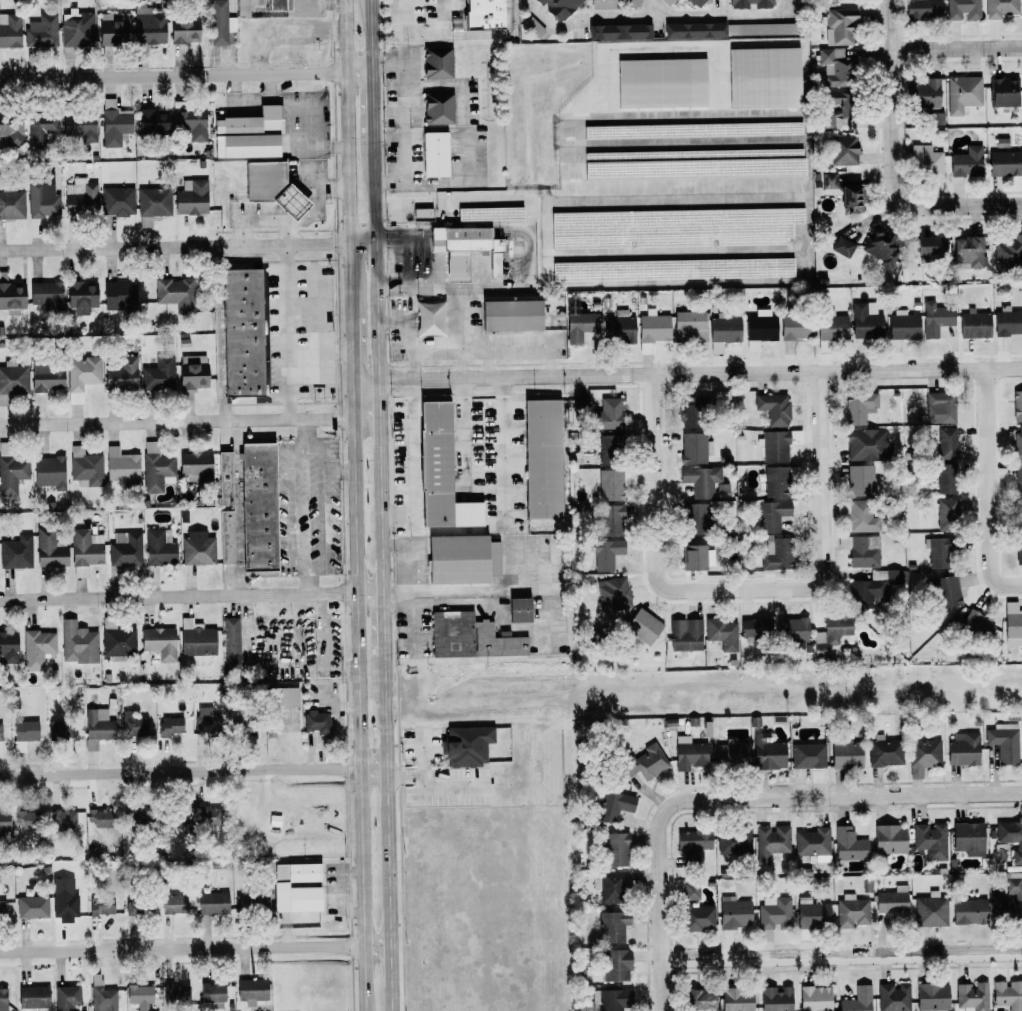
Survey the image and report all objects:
building: (667, 2)
building: (748, 3)
building: (275, 5)
building: (557, 6)
building: (242, 8)
road: (655, 8)
road: (727, 8)
building: (1001, 8)
building: (922, 9)
building: (963, 9)
building: (482, 14)
road: (511, 16)
road: (405, 17)
road: (442, 17)
road: (659, 17)
building: (219, 23)
building: (147, 26)
building: (839, 26)
building: (76, 28)
building: (112, 28)
building: (729, 29)
building: (10, 30)
building: (183, 30)
building: (41, 31)
building: (618, 31)
road: (458, 33)
road: (371, 35)
road: (955, 43)
road: (610, 48)
building: (436, 62)
building: (834, 66)
road: (186, 75)
building: (764, 77)
building: (661, 82)
road: (271, 87)
building: (1003, 92)
building: (923, 93)
building: (963, 94)
road: (372, 105)
building: (437, 108)
building: (844, 108)
road: (290, 111)
road: (730, 112)
road: (387, 115)
building: (152, 121)
road: (402, 122)
building: (114, 123)
building: (190, 123)
building: (79, 126)
building: (41, 127)
building: (10, 129)
building: (692, 130)
building: (247, 134)
road: (388, 138)
road: (688, 142)
building: (843, 149)
building: (434, 154)
road: (350, 158)
building: (925, 161)
road: (890, 162)
building: (966, 162)
building: (1004, 163)
building: (694, 164)
building: (829, 183)
building: (272, 187)
building: (42, 196)
building: (79, 196)
building: (191, 198)
building: (850, 198)
road: (807, 199)
building: (117, 201)
building: (152, 204)
building: (12, 205)
building: (489, 213)
building: (673, 227)
building: (929, 245)
road: (188, 246)
building: (842, 246)
building: (880, 246)
building: (467, 249)
road: (674, 250)
building: (968, 251)
building: (1008, 251)
road: (422, 263)
building: (672, 269)
building: (119, 294)
building: (175, 295)
building: (45, 296)
building: (81, 296)
building: (12, 297)
building: (510, 315)
building: (935, 318)
building: (866, 320)
road: (403, 321)
building: (1007, 321)
building: (579, 325)
building: (832, 325)
building: (903, 325)
building: (974, 325)
road: (378, 326)
building: (690, 326)
building: (761, 326)
building: (618, 327)
building: (653, 327)
building: (796, 327)
building: (723, 331)
building: (241, 332)
road: (287, 332)
road: (221, 333)
road: (479, 345)
road: (353, 347)
road: (320, 351)
road: (459, 361)
road: (487, 361)
building: (192, 371)
building: (121, 374)
road: (688, 374)
building: (158, 375)
building: (81, 376)
building: (46, 377)
building: (13, 378)
building: (1017, 405)
building: (579, 406)
building: (859, 407)
building: (940, 407)
road: (484, 408)
building: (773, 409)
building: (607, 414)
building: (689, 416)
road: (190, 420)
road: (305, 430)
building: (1018, 441)
building: (947, 443)
building: (867, 445)
building: (774, 446)
building: (694, 448)
building: (542, 459)
road: (410, 460)
building: (195, 465)
building: (121, 466)
building: (84, 467)
road: (340, 469)
building: (49, 472)
building: (439, 472)
building: (12, 474)
building: (1018, 477)
building: (224, 478)
building: (947, 479)
building: (701, 480)
building: (859, 480)
building: (776, 481)
building: (610, 485)
road: (486, 486)
road: (987, 489)
road: (324, 503)
building: (257, 506)
road: (294, 507)
building: (947, 511)
building: (771, 515)
building: (693, 517)
building: (861, 517)
road: (821, 518)
building: (610, 520)
road: (654, 521)
road: (468, 531)
building: (226, 537)
building: (158, 548)
building: (198, 548)
building: (1018, 548)
building: (125, 549)
building: (49, 550)
building: (861, 550)
building: (85, 551)
building: (16, 552)
building: (938, 552)
road: (382, 553)
building: (604, 553)
building: (776, 553)
building: (693, 557)
building: (461, 559)
road: (406, 567)
road: (309, 580)
building: (871, 587)
road: (499, 589)
building: (951, 589)
road: (394, 592)
building: (613, 594)
road: (191, 595)
building: (518, 609)
road: (411, 618)
road: (384, 622)
building: (977, 624)
building: (1012, 624)
building: (642, 627)
building: (791, 629)
building: (755, 630)
building: (722, 633)
building: (832, 633)
building: (685, 634)
building: (469, 637)
building: (196, 641)
building: (76, 643)
building: (159, 643)
building: (230, 643)
building: (8, 647)
building: (36, 648)
road: (323, 648)
road: (359, 694)
building: (281, 697)
road: (332, 706)
building: (204, 720)
building: (315, 721)
building: (133, 725)
building: (169, 726)
building: (97, 728)
building: (242, 728)
building: (60, 729)
building: (0, 732)
building: (23, 734)
building: (1003, 742)
building: (465, 745)
building: (963, 749)
building: (884, 751)
building: (767, 752)
building: (845, 752)
building: (689, 753)
building: (729, 754)
building: (807, 755)
building: (923, 756)
building: (644, 763)
road: (193, 771)
road: (424, 775)
road: (454, 787)
road: (425, 790)
road: (846, 796)
building: (613, 806)
building: (204, 815)
building: (130, 817)
building: (100, 818)
building: (27, 819)
building: (3, 821)
building: (62, 821)
road: (388, 832)
building: (968, 838)
building: (1011, 838)
building: (889, 839)
building: (931, 840)
building: (733, 842)
building: (771, 842)
building: (814, 844)
building: (849, 844)
building: (692, 845)
building: (615, 849)
building: (610, 886)
building: (295, 887)
road: (343, 891)
building: (690, 891)
building: (63, 898)
building: (1007, 899)
building: (893, 902)
building: (212, 903)
building: (249, 903)
building: (173, 904)
building: (100, 905)
road: (660, 906)
building: (31, 907)
building: (137, 907)
building: (2, 909)
building: (931, 910)
building: (969, 911)
building: (774, 912)
building: (851, 912)
building: (734, 913)
building: (812, 913)
building: (697, 918)
building: (612, 926)
road: (195, 948)
road: (841, 954)
building: (615, 965)
building: (251, 990)
building: (1008, 994)
building: (101, 995)
building: (176, 995)
building: (139, 996)
building: (212, 996)
building: (32, 997)
building: (66, 997)
building: (893, 997)
building: (932, 997)
building: (972, 997)
building: (775, 998)
building: (814, 998)
building: (3, 999)
building: (736, 999)
building: (611, 1000)
building: (700, 1000)
building: (857, 1000)

